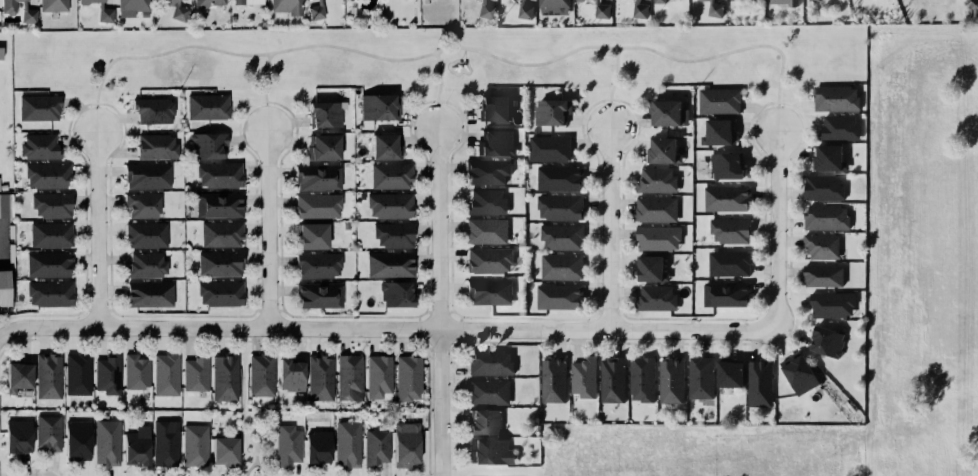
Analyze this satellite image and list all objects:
building: (579, 0)
building: (710, 0)
building: (735, 0)
building: (814, 0)
building: (84, 1)
building: (658, 1)
building: (784, 1)
building: (246, 2)
building: (524, 2)
building: (205, 3)
building: (52, 5)
building: (7, 6)
building: (285, 6)
building: (552, 6)
building: (130, 7)
building: (973, 7)
building: (638, 9)
building: (714, 9)
building: (176, 10)
building: (484, 10)
building: (523, 10)
building: (600, 10)
building: (314, 11)
building: (102, 14)
building: (27, 15)
road: (450, 47)
building: (1, 53)
park: (438, 57)
road: (616, 75)
road: (440, 77)
road: (264, 78)
building: (834, 98)
building: (718, 100)
street lamp: (446, 103)
building: (38, 106)
building: (206, 106)
building: (378, 106)
building: (492, 108)
building: (151, 110)
building: (550, 111)
building: (666, 112)
building: (322, 114)
road: (610, 114)
road: (438, 117)
road: (777, 117)
road: (97, 118)
road: (268, 119)
street lamp: (755, 120)
building: (837, 128)
street lamp: (71, 131)
street lamp: (242, 131)
street lamp: (124, 132)
building: (717, 132)
street lamp: (294, 134)
street lamp: (585, 135)
street lamp: (636, 135)
building: (494, 142)
building: (154, 145)
building: (206, 145)
building: (39, 147)
building: (321, 147)
building: (383, 147)
building: (548, 147)
building: (661, 150)
building: (827, 158)
street lamp: (430, 161)
building: (725, 165)
building: (485, 170)
building: (45, 175)
building: (144, 175)
building: (217, 175)
building: (389, 175)
building: (316, 176)
building: (558, 177)
building: (655, 179)
building: (2, 186)
building: (822, 187)
street lamp: (107, 193)
street lamp: (601, 193)
building: (725, 197)
building: (4, 199)
building: (485, 202)
building: (50, 204)
building: (216, 204)
building: (388, 204)
building: (141, 205)
building: (315, 205)
building: (558, 206)
building: (655, 208)
building: (825, 216)
building: (344, 225)
road: (609, 227)
road: (776, 227)
road: (99, 228)
road: (269, 230)
building: (485, 230)
building: (729, 230)
building: (219, 233)
building: (392, 234)
building: (49, 235)
building: (144, 235)
building: (309, 236)
building: (560, 236)
building: (656, 237)
street lamp: (769, 243)
building: (819, 244)
building: (487, 260)
building: (47, 263)
building: (218, 263)
building: (728, 263)
building: (144, 264)
building: (316, 264)
building: (388, 264)
building: (560, 265)
building: (649, 268)
building: (821, 275)
street lamp: (262, 277)
road: (452, 285)
building: (3, 288)
building: (487, 291)
building: (48, 293)
building: (218, 293)
building: (726, 293)
building: (147, 294)
building: (317, 294)
building: (394, 294)
building: (557, 296)
building: (654, 298)
street lamp: (109, 300)
road: (442, 303)
building: (830, 303)
road: (87, 309)
road: (98, 309)
road: (110, 309)
road: (259, 309)
road: (281, 309)
road: (598, 309)
road: (619, 309)
road: (270, 310)
road: (609, 310)
road: (429, 311)
road: (440, 311)
road: (452, 311)
road: (419, 318)
road: (461, 318)
street lamp: (686, 320)
road: (420, 329)
road: (461, 329)
road: (385, 330)
road: (245, 333)
street lamp: (787, 334)
street lamp: (119, 335)
street lamp: (34, 336)
street lamp: (278, 338)
street lamp: (503, 338)
road: (245, 339)
street lamp: (396, 339)
road: (276, 340)
road: (420, 340)
road: (461, 340)
street lamp: (599, 340)
building: (828, 341)
road: (441, 347)
road: (452, 347)
road: (429, 348)
street lamp: (432, 352)
building: (489, 361)
building: (137, 371)
building: (197, 372)
building: (730, 372)
building: (78, 373)
building: (167, 374)
building: (291, 374)
building: (48, 375)
building: (107, 375)
building: (801, 375)
building: (262, 376)
building: (380, 376)
building: (702, 376)
building: (225, 377)
building: (320, 377)
building: (350, 377)
building: (583, 377)
building: (409, 378)
building: (554, 378)
building: (613, 378)
building: (642, 378)
building: (19, 379)
building: (672, 380)
building: (760, 383)
building: (488, 391)
road: (243, 404)
building: (484, 421)
park: (254, 430)
building: (48, 432)
building: (18, 436)
building: (77, 441)
building: (107, 443)
building: (165, 443)
building: (347, 443)
building: (405, 443)
building: (195, 446)
building: (287, 446)
building: (375, 447)
building: (136, 448)
building: (317, 448)
building: (224, 450)
building: (491, 451)
road: (8, 460)
road: (41, 464)
road: (250, 468)
road: (262, 469)

